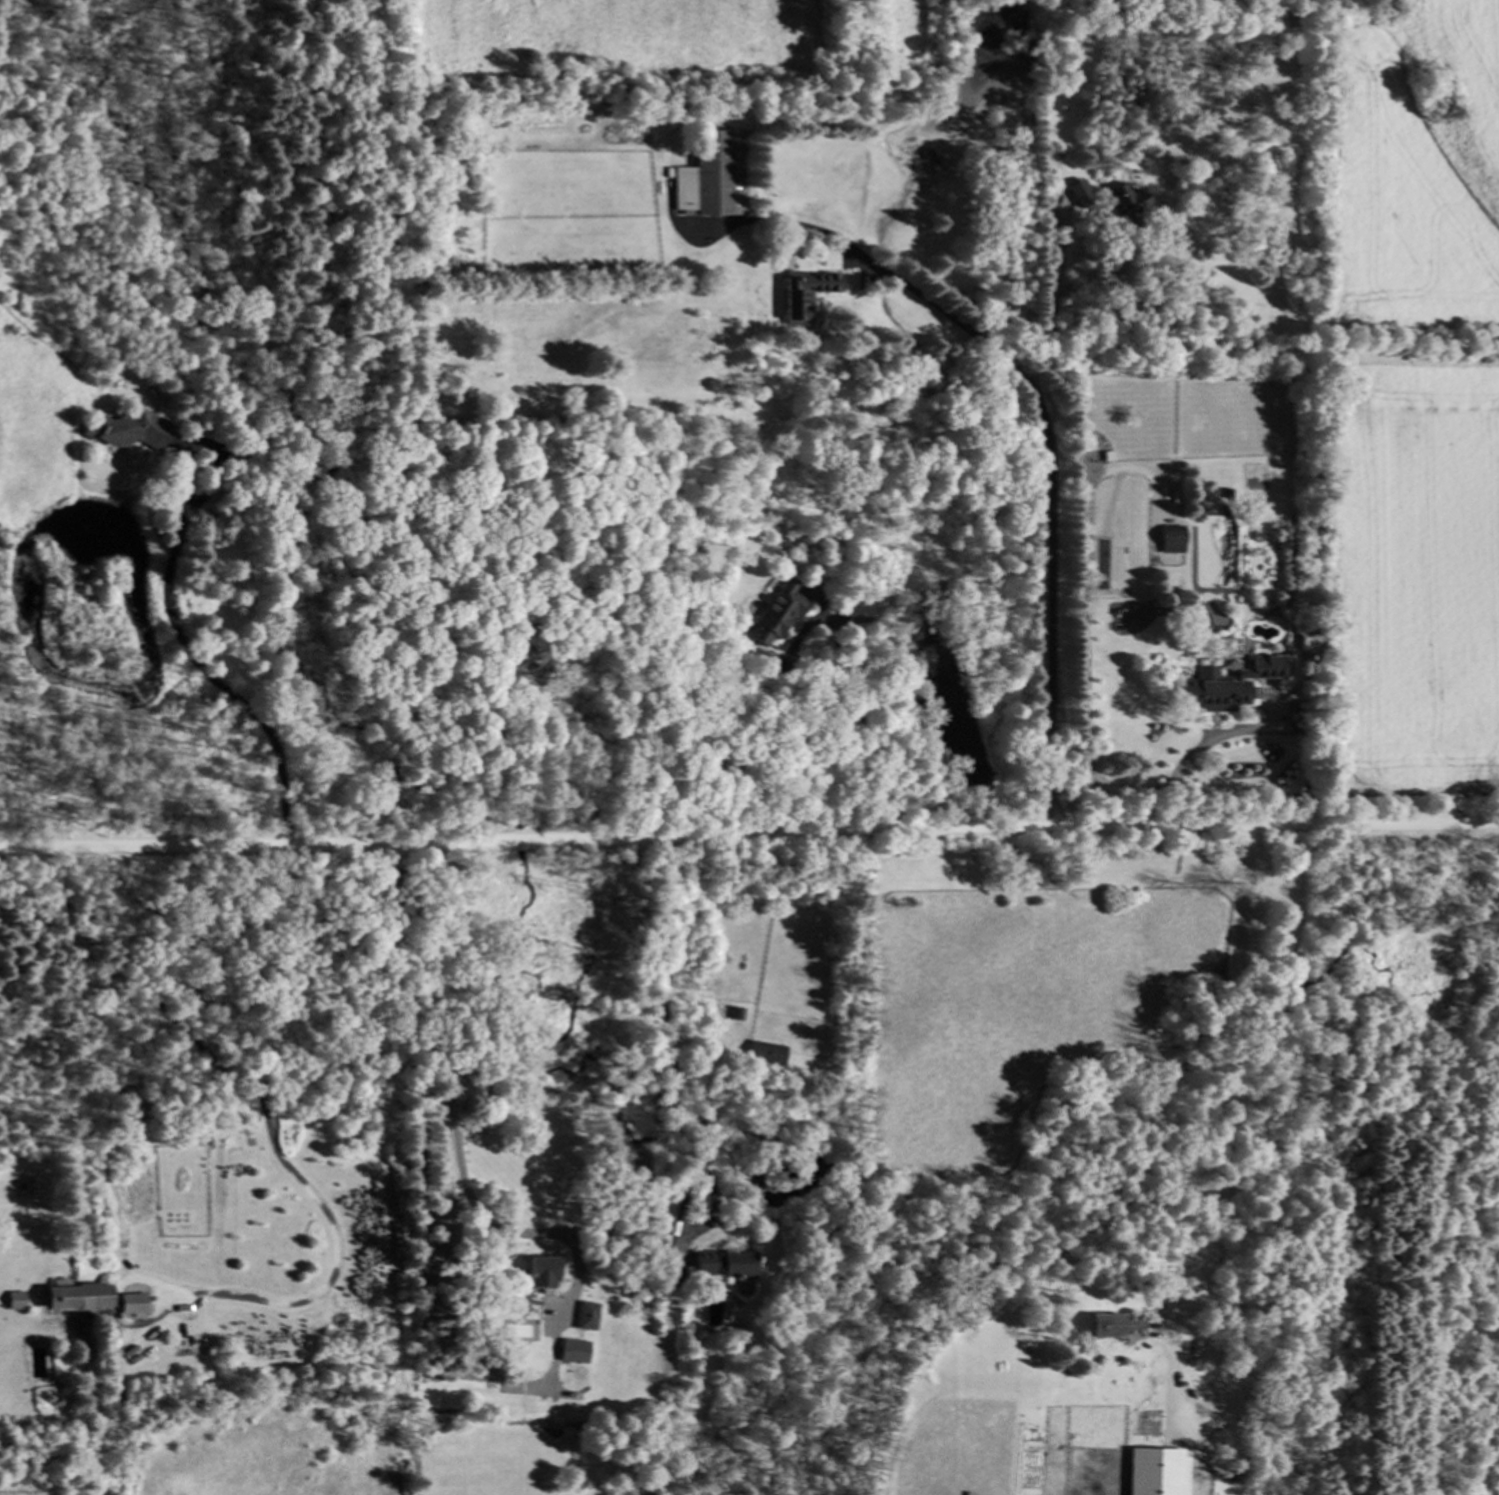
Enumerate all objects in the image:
building: (708, 177)
building: (1075, 194)
building: (1124, 205)
building: (802, 297)
road: (1054, 308)
building: (124, 433)
road: (1051, 506)
building: (1168, 539)
road: (1086, 595)
building: (773, 615)
road: (196, 663)
building: (1227, 686)
road: (856, 713)
road: (1174, 775)
road: (749, 838)
building: (733, 1014)
road: (666, 1036)
building: (764, 1055)
road: (451, 1110)
road: (265, 1114)
road: (1217, 1128)
building: (736, 1266)
building: (697, 1268)
building: (542, 1273)
building: (76, 1297)
building: (14, 1302)
building: (132, 1304)
building: (586, 1317)
building: (1116, 1327)
building: (573, 1352)
building: (1151, 1469)

